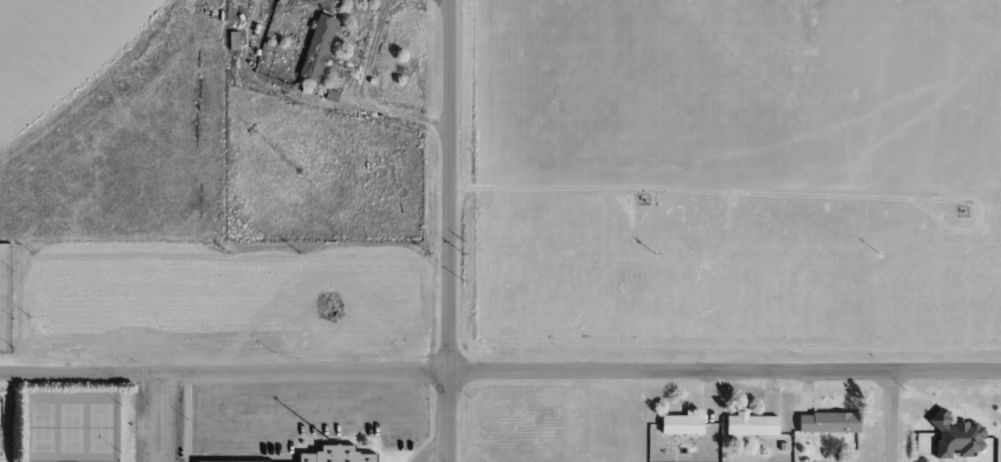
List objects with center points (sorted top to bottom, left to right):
building: (313, 1)
building: (315, 47)
road: (449, 185)
road: (500, 370)
road: (160, 414)
road: (450, 416)
road: (894, 416)
building: (826, 422)
building: (678, 423)
building: (747, 425)
park: (72, 426)
building: (954, 437)
road: (434, 453)
building: (335, 455)
building: (207, 461)

